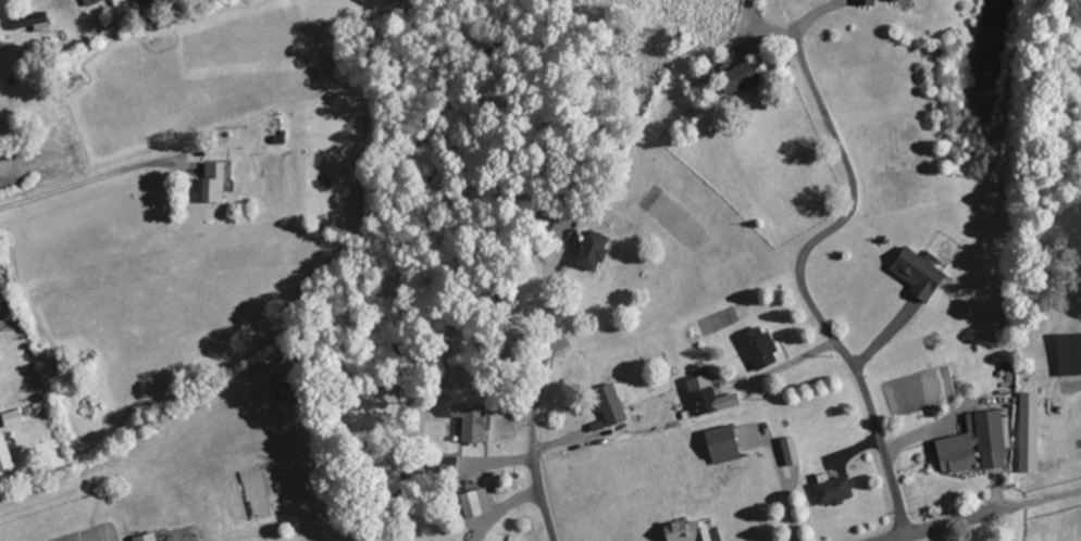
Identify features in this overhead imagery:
building: (899, 0)
building: (91, 2)
building: (868, 2)
building: (32, 22)
building: (742, 78)
building: (213, 184)
building: (594, 251)
building: (919, 274)
road: (804, 285)
building: (760, 349)
building: (1070, 354)
building: (709, 397)
building: (611, 405)
building: (13, 418)
building: (472, 423)
building: (1030, 432)
road: (534, 437)
building: (978, 443)
building: (723, 445)
building: (791, 452)
building: (5, 455)
building: (449, 464)
building: (834, 490)
building: (476, 503)
road: (942, 527)
building: (687, 531)
building: (147, 538)

